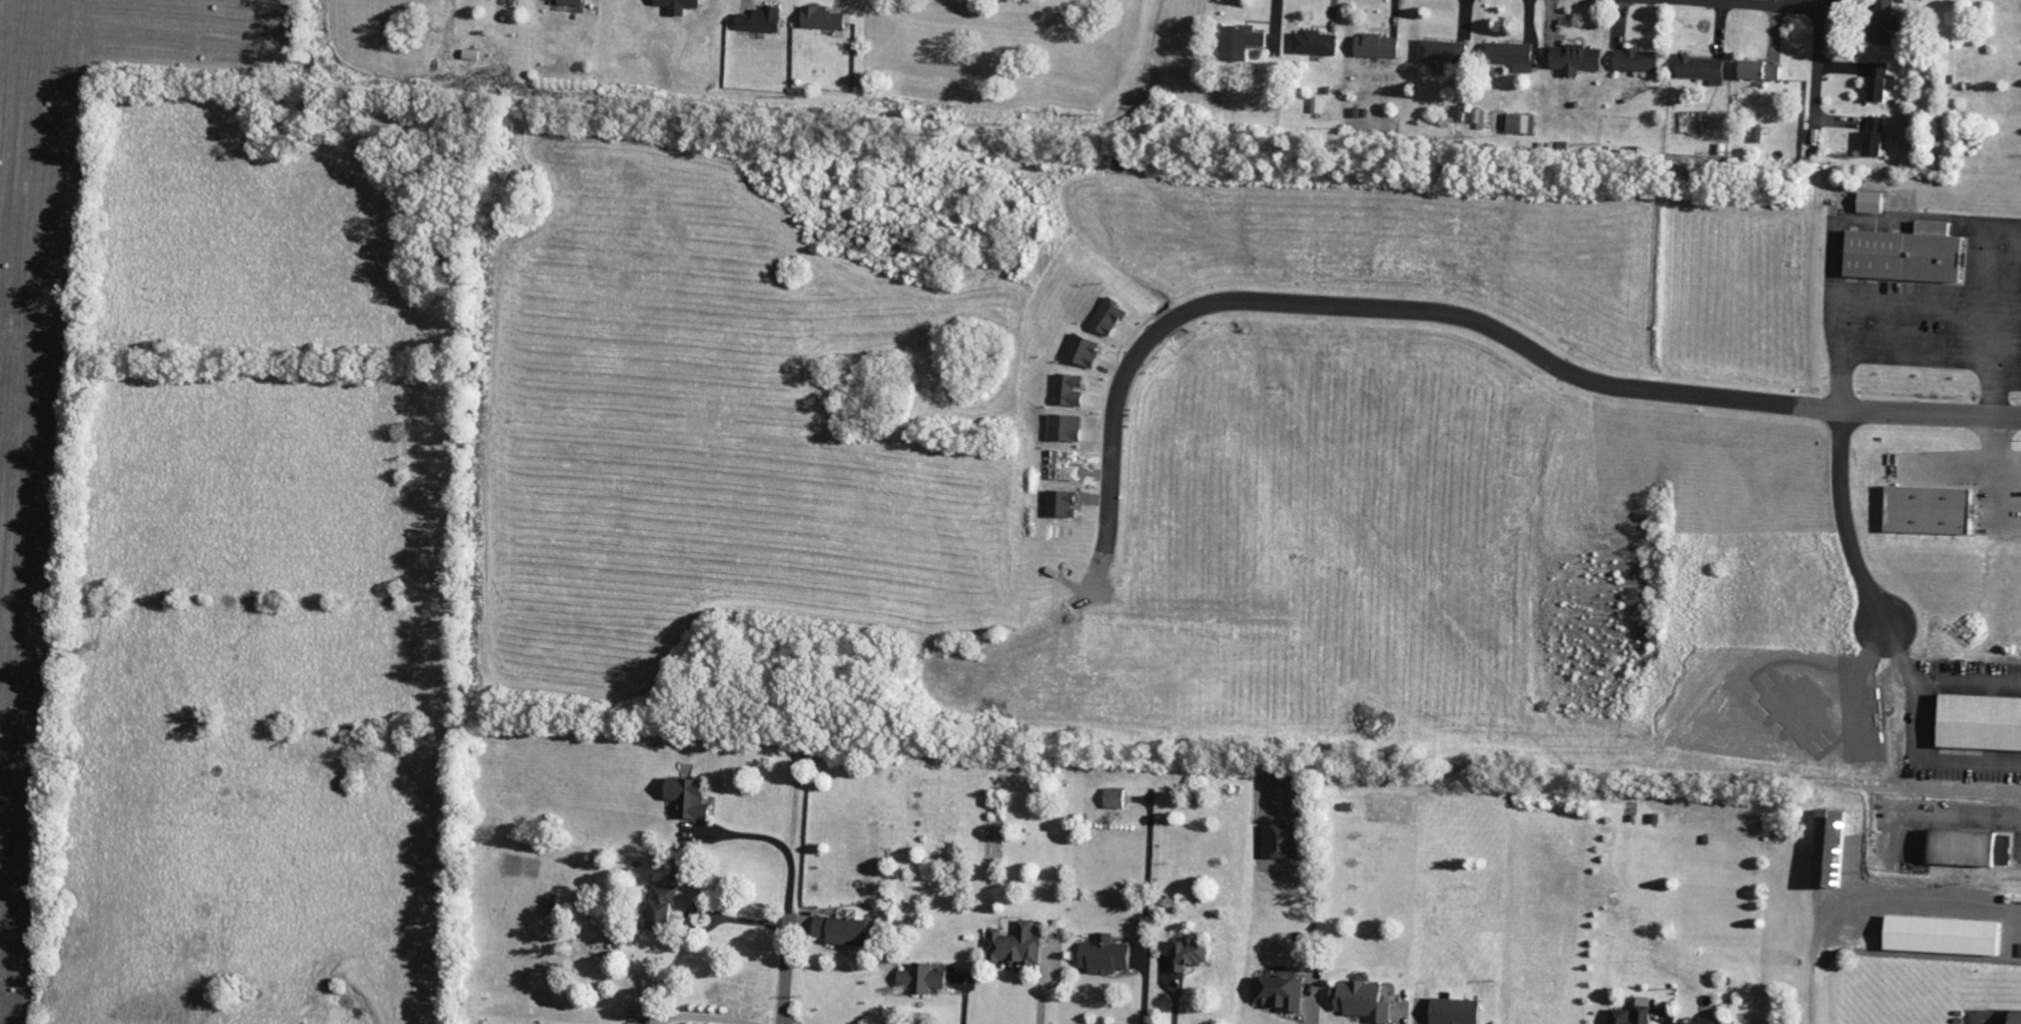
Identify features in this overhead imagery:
building: (575, 2)
road: (1756, 4)
building: (827, 18)
building: (765, 20)
building: (1887, 21)
building: (1245, 41)
building: (1318, 42)
building: (1381, 45)
building: (1446, 51)
building: (1516, 55)
building: (1581, 58)
building: (1641, 60)
road: (1816, 62)
building: (1706, 67)
building: (1766, 70)
building: (1884, 81)
building: (1462, 112)
building: (1524, 123)
building: (1880, 135)
building: (1875, 201)
building: (1912, 255)
building: (1114, 316)
building: (1088, 349)
road: (1918, 354)
road: (1624, 388)
building: (1074, 389)
building: (1069, 427)
building: (1935, 510)
road: (1874, 600)
building: (1984, 723)
building: (694, 797)
building: (1119, 798)
road: (777, 841)
building: (1286, 841)
building: (1970, 847)
building: (1835, 848)
road: (1871, 901)
building: (668, 907)
building: (849, 931)
building: (1951, 935)
road: (1312, 942)
building: (1019, 945)
building: (1110, 955)
building: (1193, 955)
road: (785, 967)
building: (928, 979)
building: (1285, 992)
building: (1367, 1000)
building: (1463, 1010)
building: (1625, 1014)
building: (2017, 1017)
road: (695, 1018)
building: (1720, 1020)

